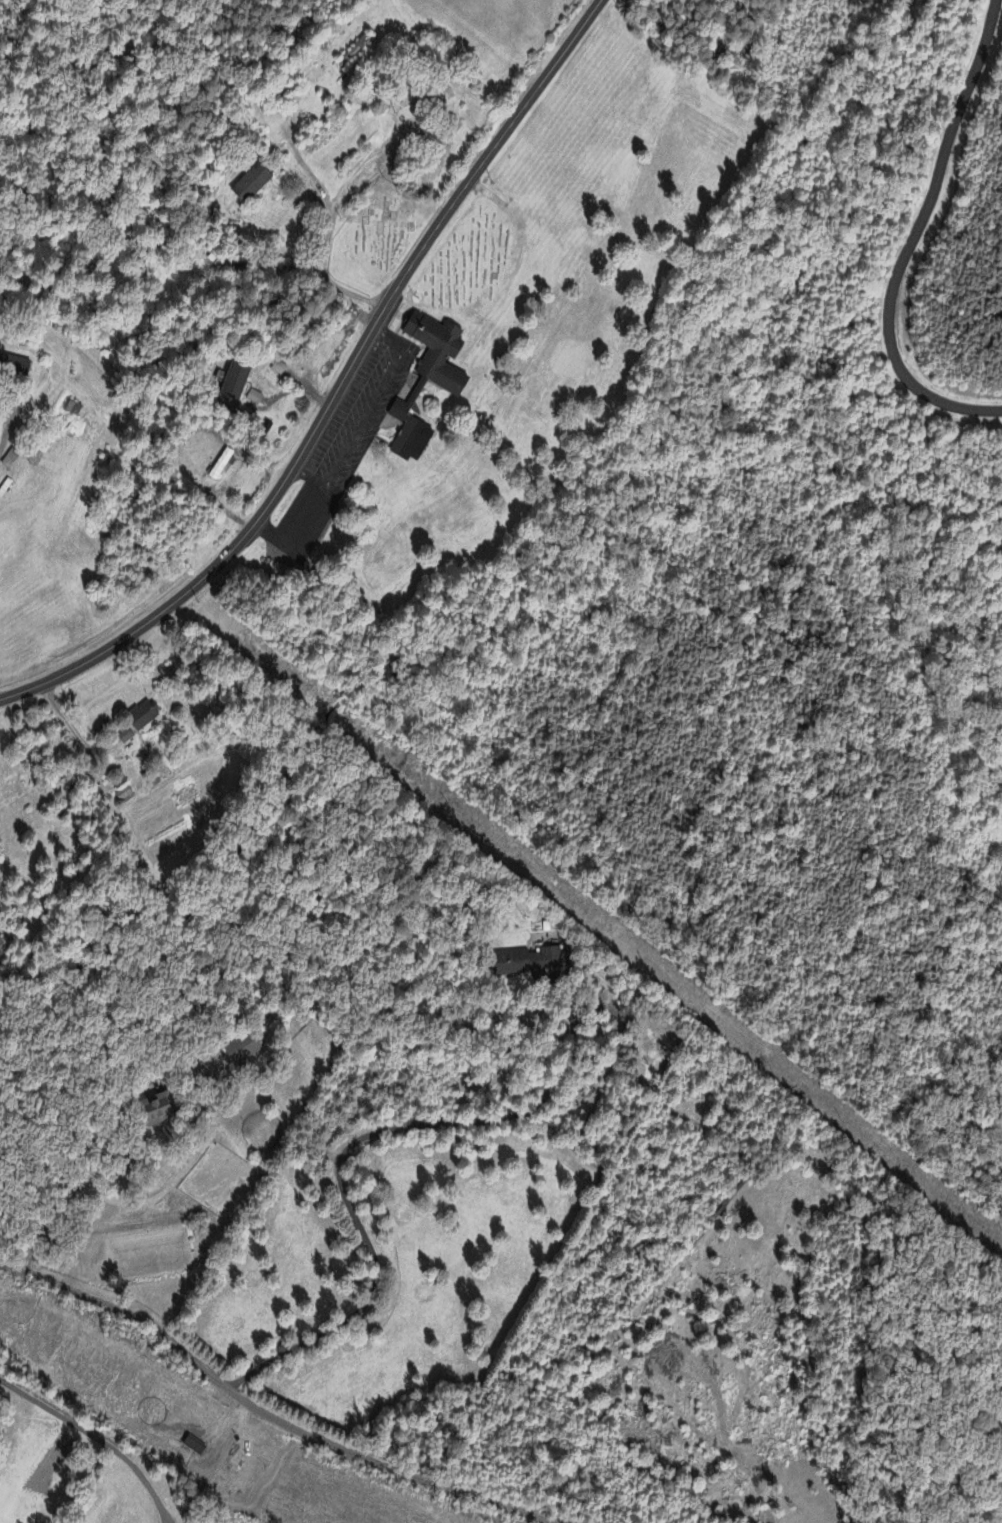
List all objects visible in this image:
building: (252, 184)
park: (378, 234)
road: (921, 237)
park: (479, 262)
road: (325, 272)
building: (24, 366)
building: (279, 368)
building: (429, 379)
building: (237, 381)
road: (337, 390)
building: (72, 408)
parking lot: (359, 413)
road: (366, 419)
road: (9, 423)
building: (11, 459)
building: (301, 529)
building: (143, 716)
building: (126, 737)
building: (125, 796)
road: (593, 917)
building: (1, 944)
building: (526, 962)
building: (244, 1050)
road: (183, 1065)
building: (158, 1110)
road: (340, 1159)
road: (263, 1408)
road: (98, 1435)
road: (962, 1468)

